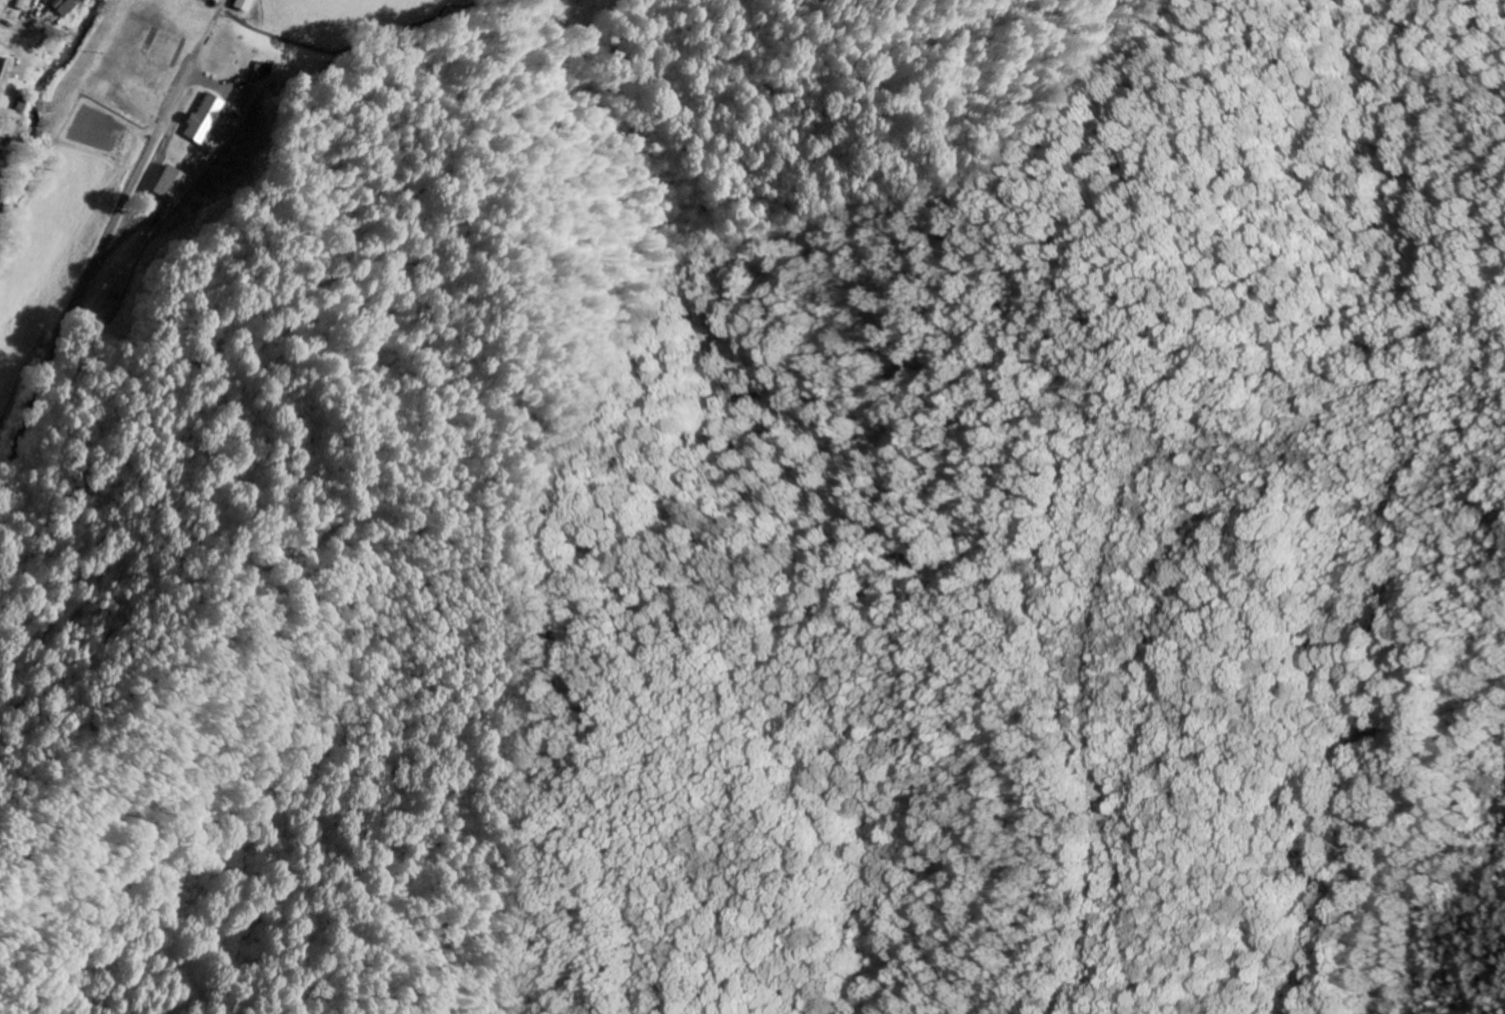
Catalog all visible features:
building: (24, 4)
building: (246, 5)
building: (66, 7)
road: (10, 33)
building: (5, 75)
building: (2, 120)
building: (218, 121)
building: (179, 183)
road: (74, 325)

